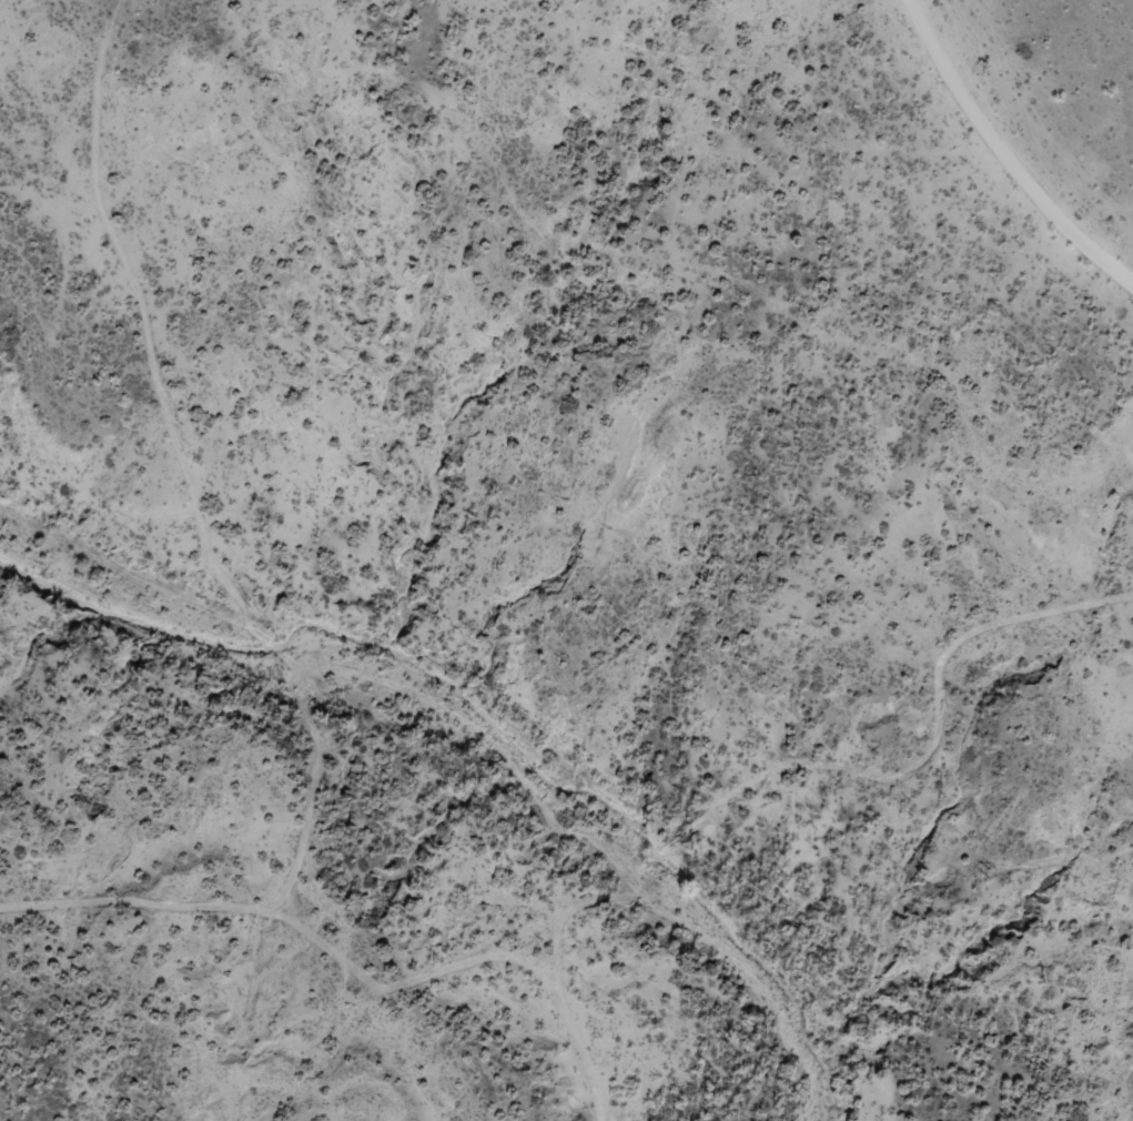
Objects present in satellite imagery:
road: (1001, 169)

